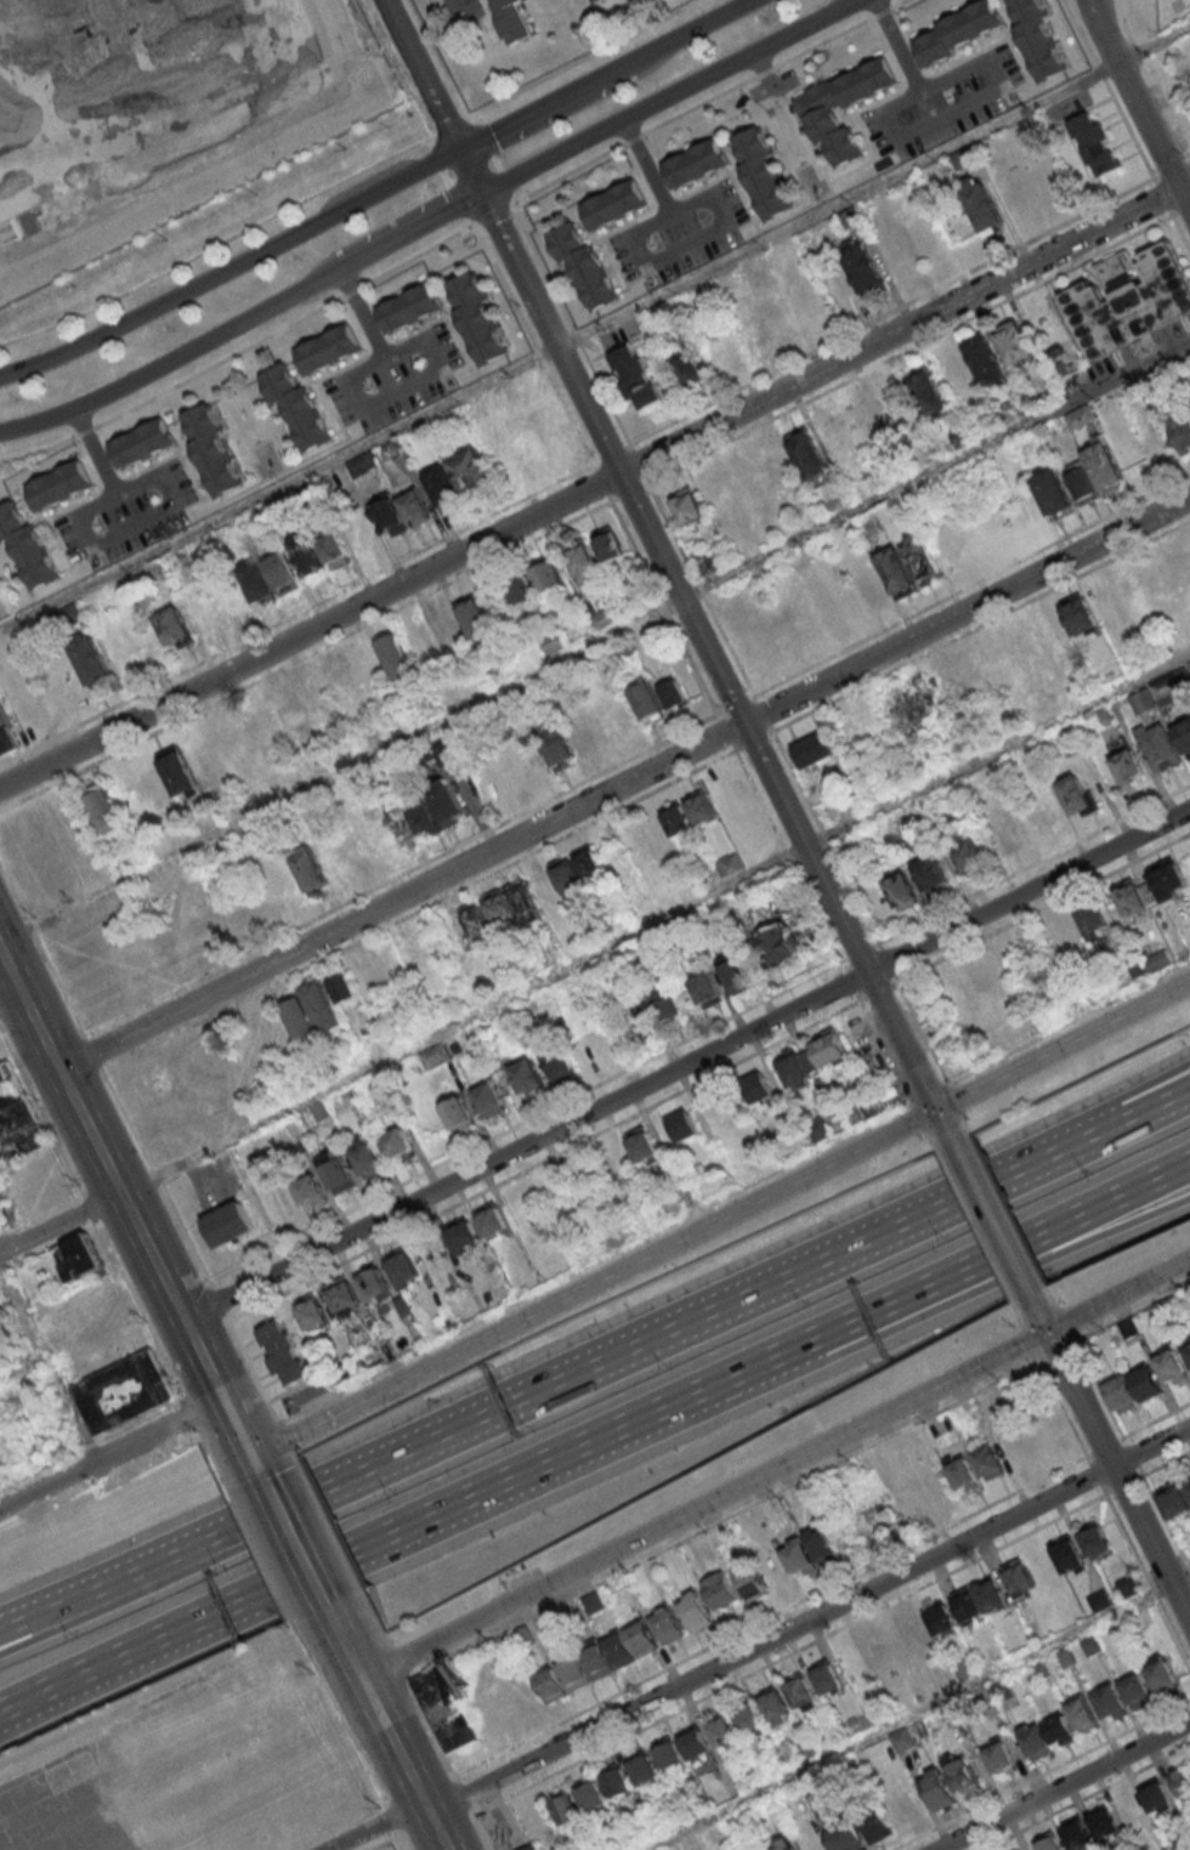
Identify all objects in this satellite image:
building: (596, 0)
road: (458, 8)
building: (514, 19)
building: (958, 30)
building: (1038, 38)
road: (899, 45)
road: (424, 74)
road: (607, 76)
building: (144, 87)
road: (1140, 100)
building: (841, 107)
road: (964, 107)
building: (1095, 143)
building: (696, 163)
building: (763, 172)
road: (355, 180)
building: (614, 204)
building: (982, 205)
road: (435, 223)
road: (645, 261)
building: (584, 265)
building: (862, 265)
road: (232, 266)
building: (1130, 301)
building: (409, 307)
building: (476, 318)
road: (595, 327)
building: (1014, 342)
building: (328, 348)
building: (986, 361)
building: (687, 365)
building: (635, 376)
building: (929, 393)
road: (362, 404)
building: (895, 407)
building: (299, 409)
building: (1081, 416)
building: (1180, 429)
building: (142, 442)
building: (211, 449)
building: (809, 454)
building: (773, 461)
building: (362, 462)
building: (1104, 466)
building: (457, 478)
building: (1081, 482)
building: (59, 484)
road: (595, 486)
building: (1053, 493)
road: (171, 500)
building: (687, 505)
building: (414, 507)
building: (389, 515)
building: (608, 544)
building: (27, 546)
building: (333, 547)
building: (306, 552)
building: (920, 556)
building: (584, 563)
building: (708, 563)
building: (896, 572)
building: (282, 573)
building: (549, 577)
building: (256, 583)
building: (522, 591)
building: (1079, 614)
building: (476, 618)
building: (174, 626)
road: (594, 642)
road: (708, 645)
building: (396, 657)
building: (90, 659)
building: (674, 694)
building: (647, 700)
building: (911, 706)
building: (290, 715)
building: (8, 732)
building: (1184, 734)
building: (568, 745)
building: (1158, 745)
building: (814, 749)
building: (1127, 765)
building: (177, 771)
road: (624, 784)
building: (1077, 795)
building: (447, 804)
building: (103, 808)
building: (690, 813)
building: (424, 819)
building: (401, 827)
building: (1005, 838)
building: (970, 853)
building: (729, 863)
building: (308, 868)
building: (577, 873)
building: (931, 874)
building: (1169, 879)
building: (902, 890)
building: (1134, 896)
building: (511, 904)
building: (1093, 920)
road: (653, 921)
building: (474, 925)
building: (780, 943)
building: (736, 972)
building: (979, 975)
building: (705, 986)
building: (342, 987)
road: (8, 995)
building: (312, 1012)
building: (635, 1023)
building: (829, 1048)
building: (435, 1055)
building: (559, 1062)
road: (685, 1063)
building: (795, 1069)
building: (528, 1077)
building: (759, 1088)
building: (489, 1100)
traffic signals: (940, 1110)
road: (1095, 1112)
building: (459, 1113)
building: (17, 1117)
building: (684, 1125)
road: (1099, 1131)
building: (398, 1142)
building: (644, 1146)
building: (367, 1156)
building: (338, 1171)
building: (311, 1191)
road: (775, 1192)
road: (124, 1205)
building: (4, 1210)
building: (492, 1219)
road: (993, 1219)
road: (58, 1224)
building: (229, 1224)
building: (464, 1235)
building: (79, 1258)
building: (403, 1267)
building: (374, 1284)
building: (344, 1295)
building: (312, 1311)
road: (863, 1311)
road: (1039, 1312)
traffic signals: (1048, 1330)
road: (868, 1339)
building: (1186, 1344)
building: (284, 1352)
road: (49, 1364)
road: (22, 1366)
building: (1172, 1367)
building: (1146, 1381)
road: (550, 1387)
building: (125, 1391)
building: (1121, 1395)
traffic signals: (221, 1400)
road: (305, 1430)
road: (92, 1442)
road: (110, 1454)
traffic signals: (250, 1458)
building: (990, 1460)
road: (776, 1468)
road: (257, 1469)
building: (963, 1475)
road: (1117, 1477)
building: (1186, 1481)
building: (1174, 1503)
building: (1094, 1537)
road: (296, 1543)
building: (822, 1544)
building: (1069, 1555)
building: (798, 1557)
building: (760, 1576)
building: (1019, 1578)
road: (268, 1584)
building: (1128, 1587)
building: (720, 1590)
building: (979, 1599)
building: (1099, 1600)
building: (695, 1610)
road: (45, 1611)
road: (810, 1619)
building: (930, 1624)
building: (668, 1625)
road: (46, 1627)
building: (642, 1636)
road: (346, 1641)
building: (608, 1656)
building: (852, 1663)
building: (933, 1670)
building: (574, 1673)
building: (1161, 1674)
building: (826, 1676)
building: (551, 1685)
building: (1137, 1691)
building: (801, 1692)
building: (1110, 1702)
building: (776, 1707)
road: (0, 1708)
road: (0, 1708)
building: (446, 1709)
road: (914, 1710)
building: (1081, 1714)
building: (749, 1719)
building: (722, 1731)
building: (1047, 1735)
building: (902, 1738)
building: (695, 1742)
building: (669, 1754)
building: (999, 1757)
road: (407, 1763)
building: (642, 1769)
building: (963, 1774)
building: (1181, 1780)
building: (617, 1782)
road: (1065, 1786)
building: (936, 1788)
building: (591, 1795)
building: (1156, 1797)
building: (566, 1808)
building: (902, 1808)
building: (1105, 1821)
road: (378, 1826)
building: (877, 1826)
building: (844, 1834)
building: (1076, 1834)
building: (1048, 1842)
building: (783, 1845)
building: (532, 1846)
building: (795, 1849)

